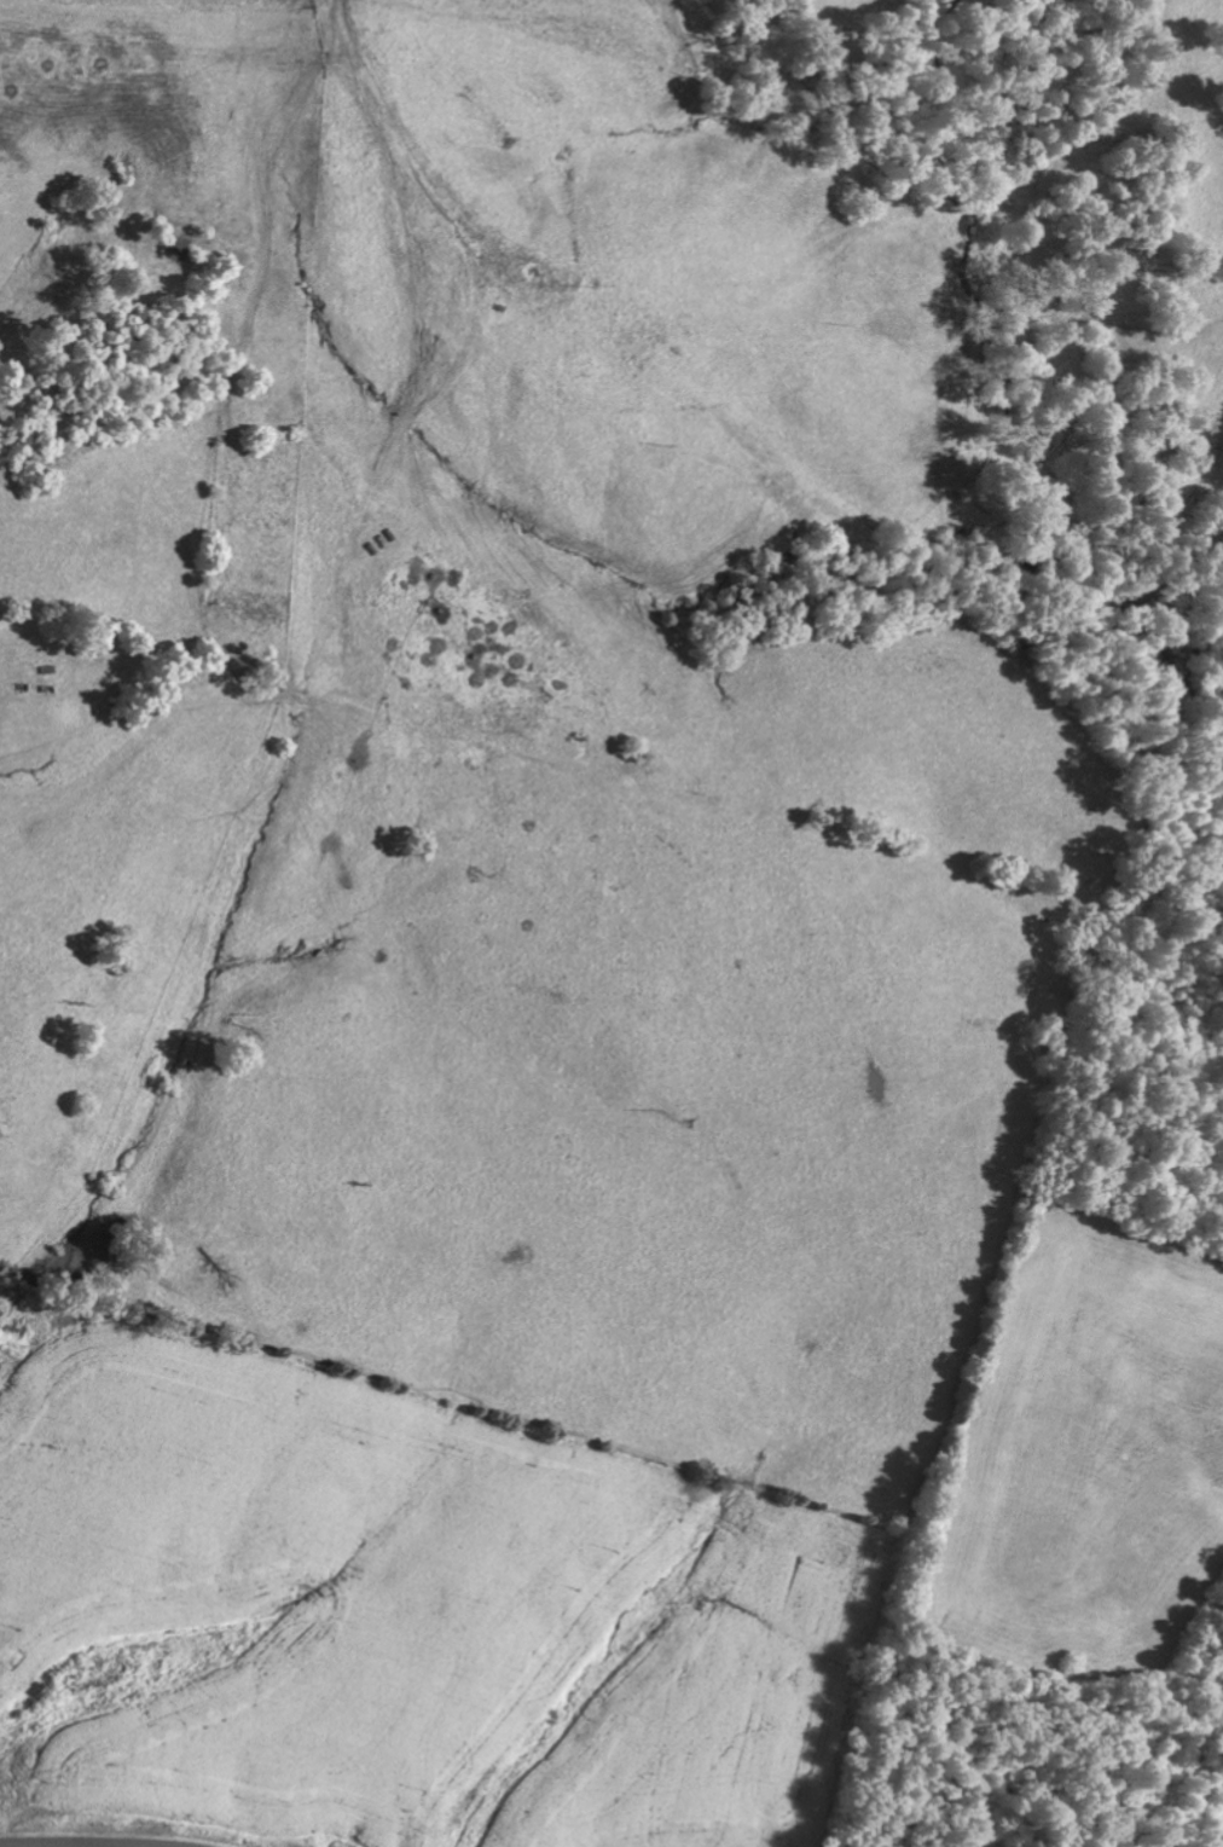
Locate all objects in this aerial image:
road: (89, 1842)

